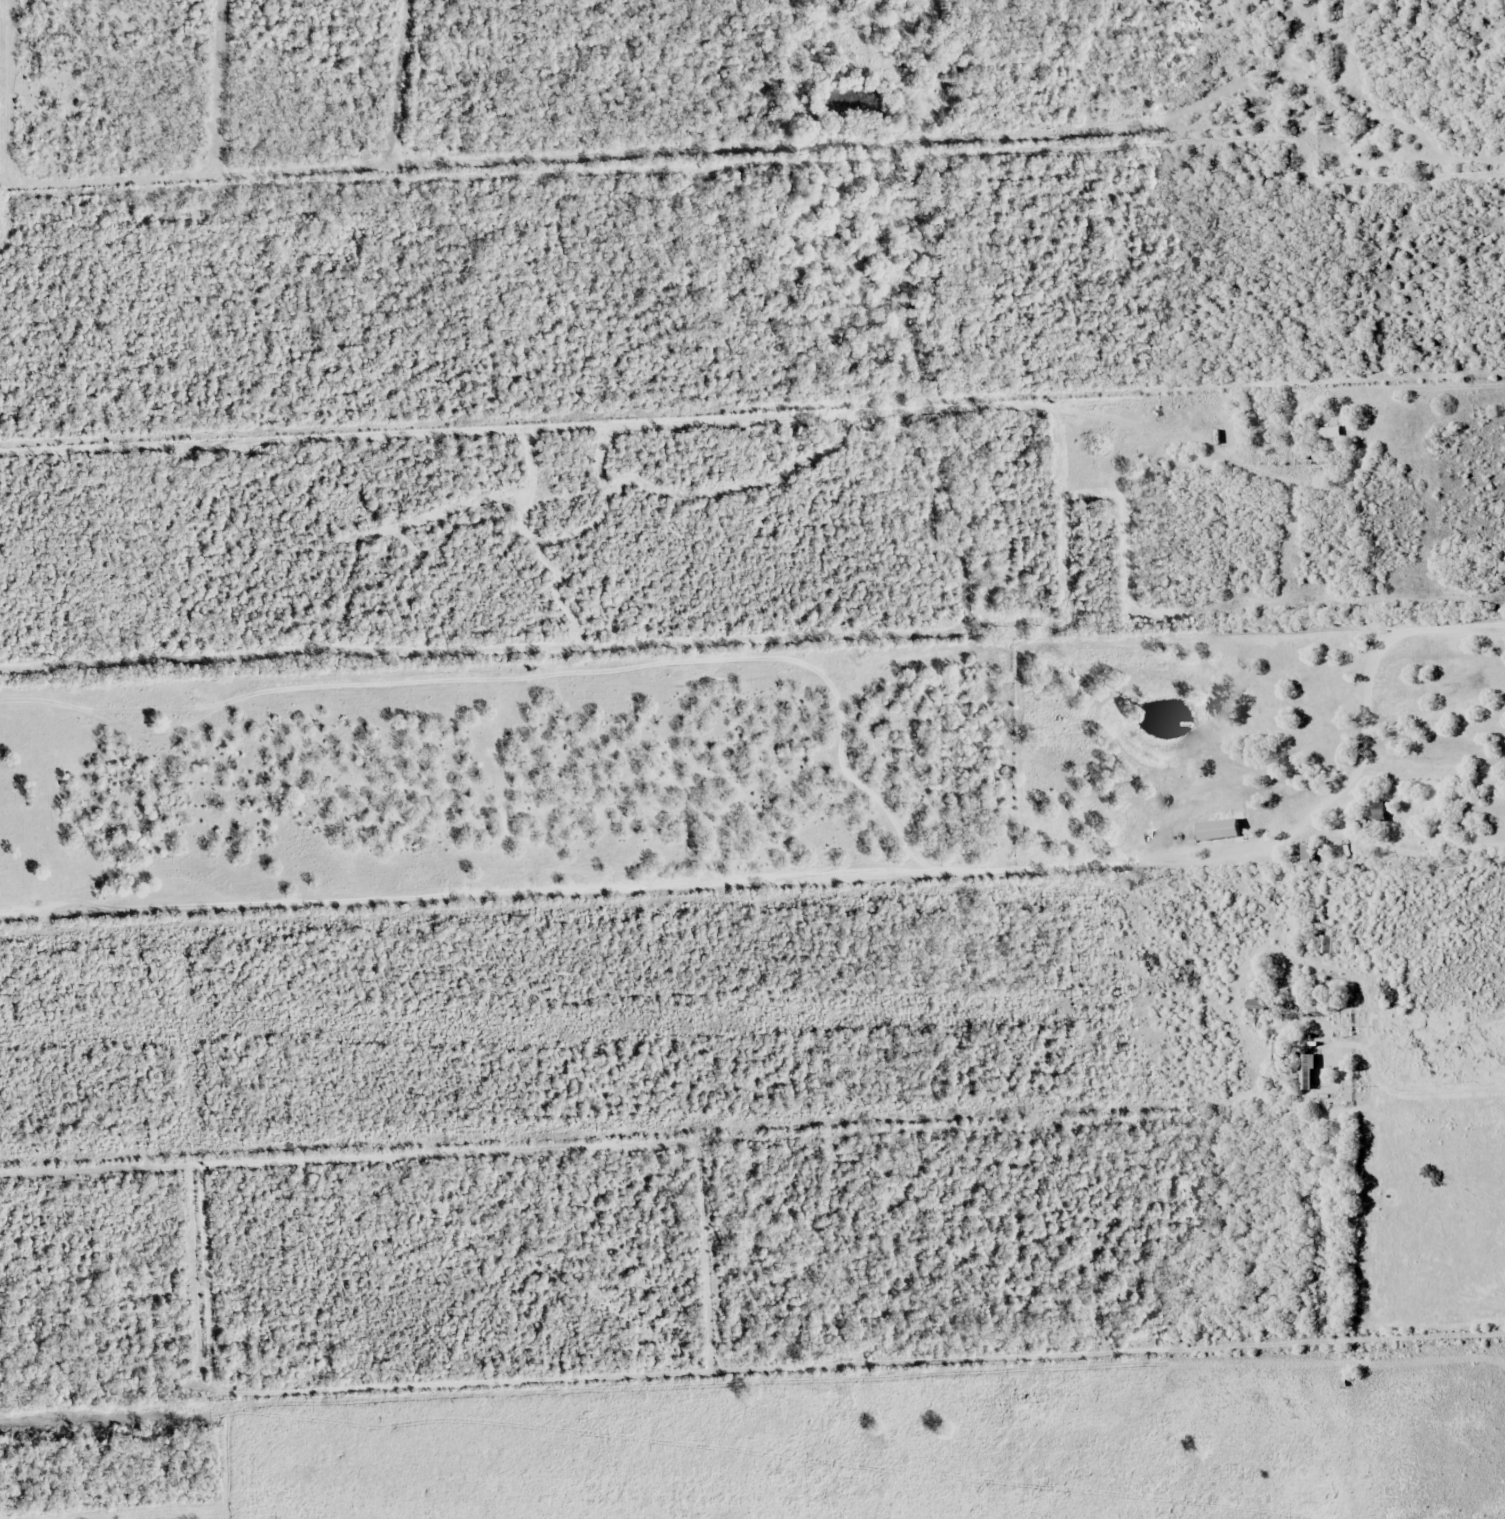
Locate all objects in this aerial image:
building: (1329, 431)
building: (1381, 810)
building: (1310, 852)
building: (1260, 1006)
building: (1283, 1054)
building: (1308, 1071)

